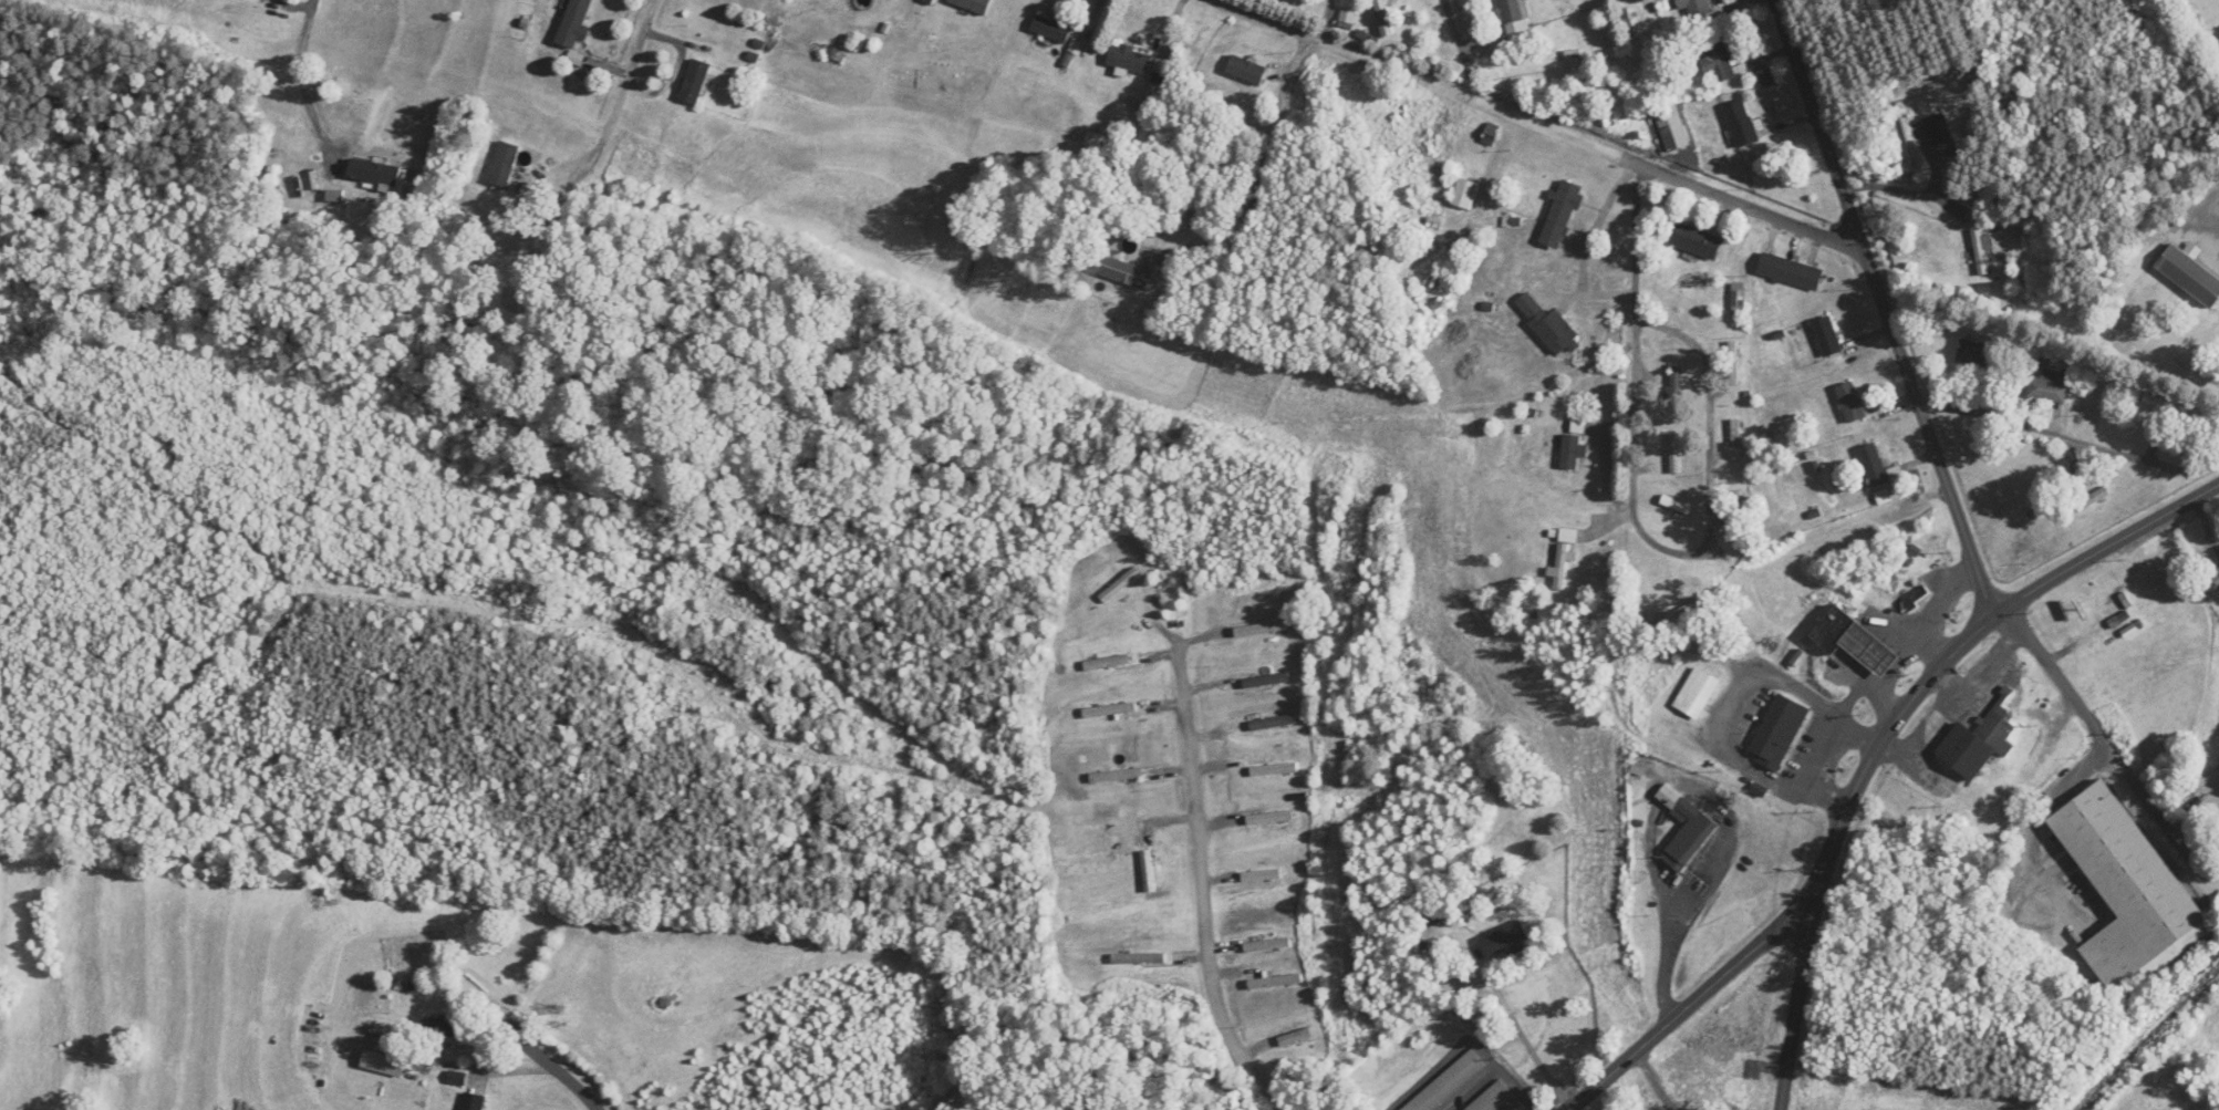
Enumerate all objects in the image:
building: (975, 6)
building: (1689, 6)
building: (1346, 18)
building: (1383, 18)
building: (1516, 22)
building: (576, 23)
building: (1050, 29)
road: (1460, 50)
building: (1129, 58)
building: (1717, 59)
building: (1245, 70)
building: (696, 82)
building: (1740, 123)
road: (1535, 124)
road: (281, 125)
building: (1490, 134)
building: (1941, 136)
building: (505, 164)
building: (375, 172)
road: (1267, 176)
road: (605, 183)
building: (1464, 194)
building: (1419, 196)
building: (1559, 215)
building: (1696, 241)
building: (1981, 251)
building: (1788, 271)
building: (1124, 272)
building: (2189, 276)
building: (1738, 298)
road: (1886, 308)
building: (1547, 324)
building: (1826, 336)
road: (1637, 346)
building: (1974, 354)
building: (1733, 363)
building: (2045, 386)
building: (1849, 402)
road: (2050, 428)
building: (1736, 438)
building: (1572, 450)
road: (1709, 450)
building: (1676, 454)
building: (1873, 465)
building: (1676, 511)
building: (1563, 557)
building: (2212, 581)
building: (1120, 585)
building: (2119, 611)
building: (1262, 629)
building: (1852, 641)
road: (1964, 643)
building: (1107, 663)
building: (1266, 681)
building: (1109, 712)
building: (1273, 723)
road: (2096, 729)
building: (1777, 733)
building: (1977, 744)
building: (1274, 770)
building: (1106, 777)
road: (2059, 789)
building: (1269, 819)
building: (1684, 829)
building: (2218, 840)
building: (1148, 872)
building: (1261, 876)
building: (2127, 890)
traffic signals: (1818, 902)
road: (1209, 907)
building: (1499, 943)
building: (1267, 945)
building: (1139, 958)
road: (1669, 958)
building: (1275, 982)
road: (1691, 1003)
road: (1796, 1005)
building: (445, 1026)
road: (1522, 1034)
building: (1296, 1037)
road: (533, 1055)
building: (385, 1064)
road: (510, 1075)
building: (1448, 1083)
building: (1493, 1098)
road: (1525, 1098)
building: (474, 1101)
road: (589, 1102)

